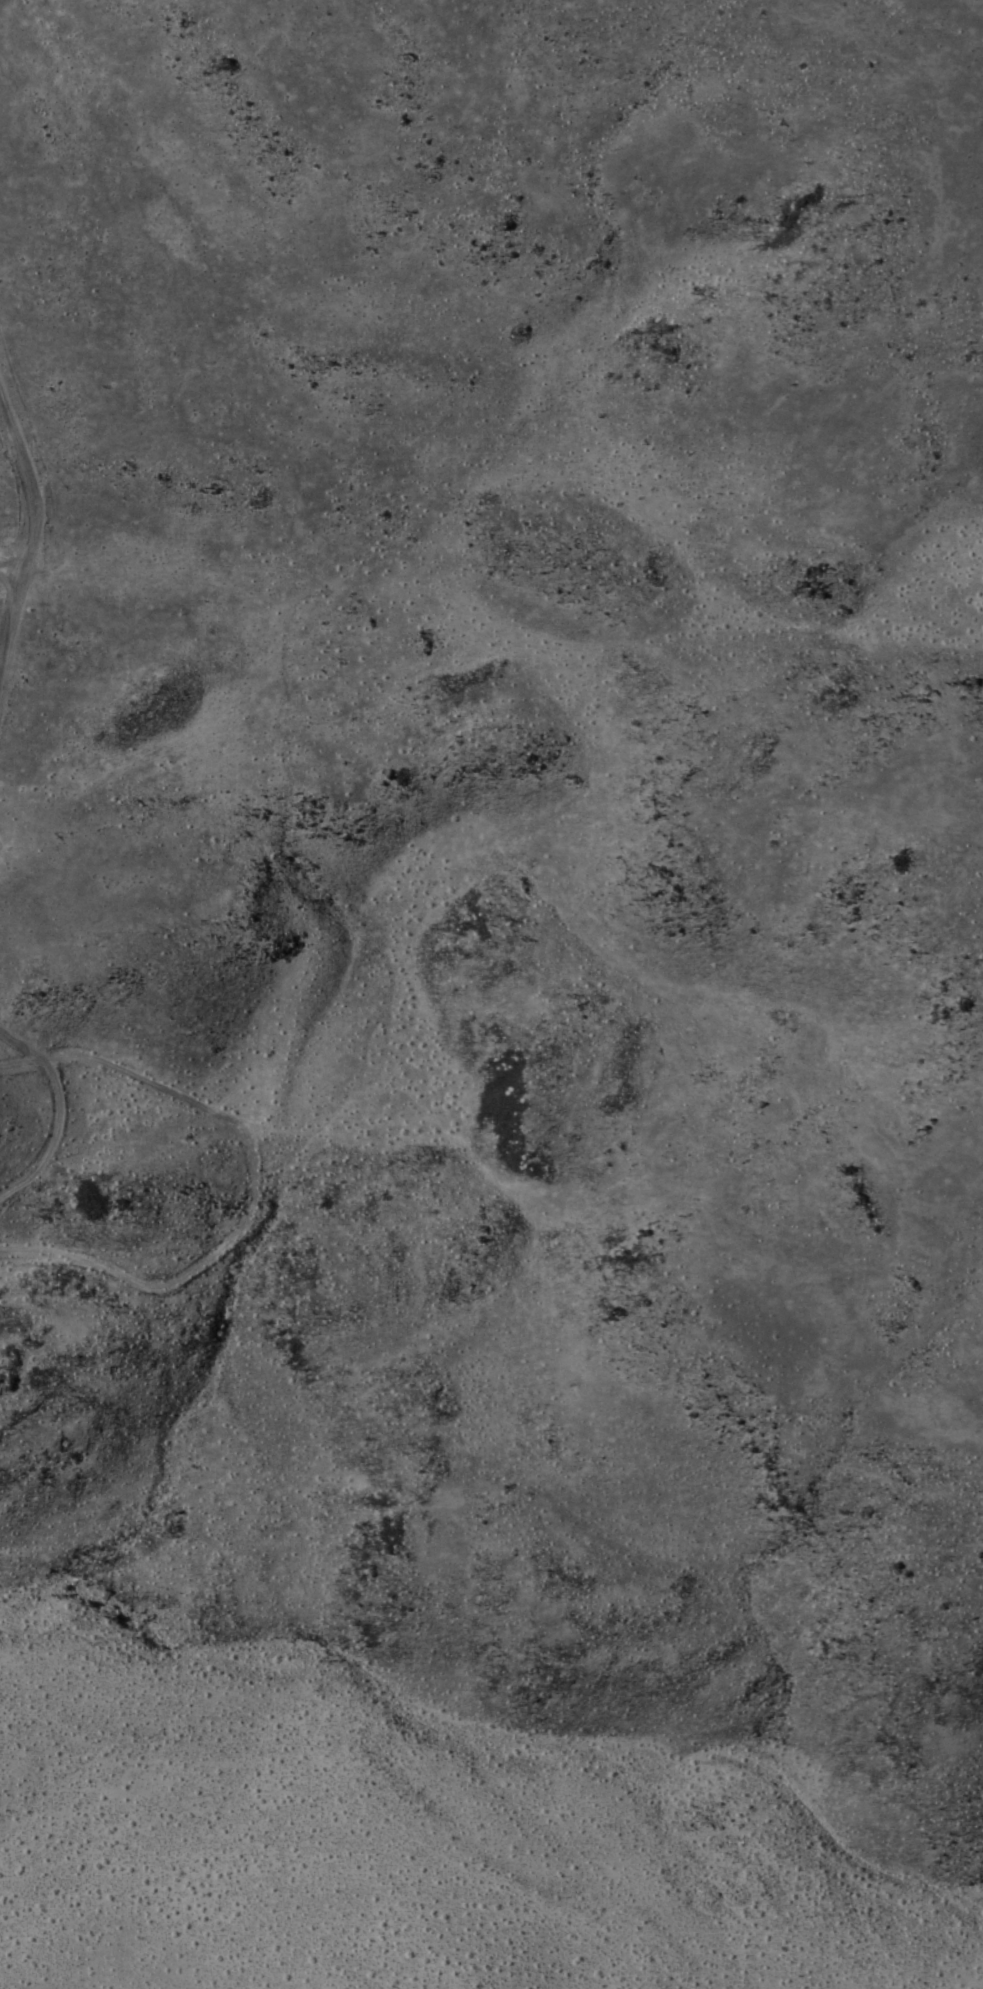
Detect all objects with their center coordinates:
road: (30, 538)
road: (21, 1060)
road: (50, 1102)

